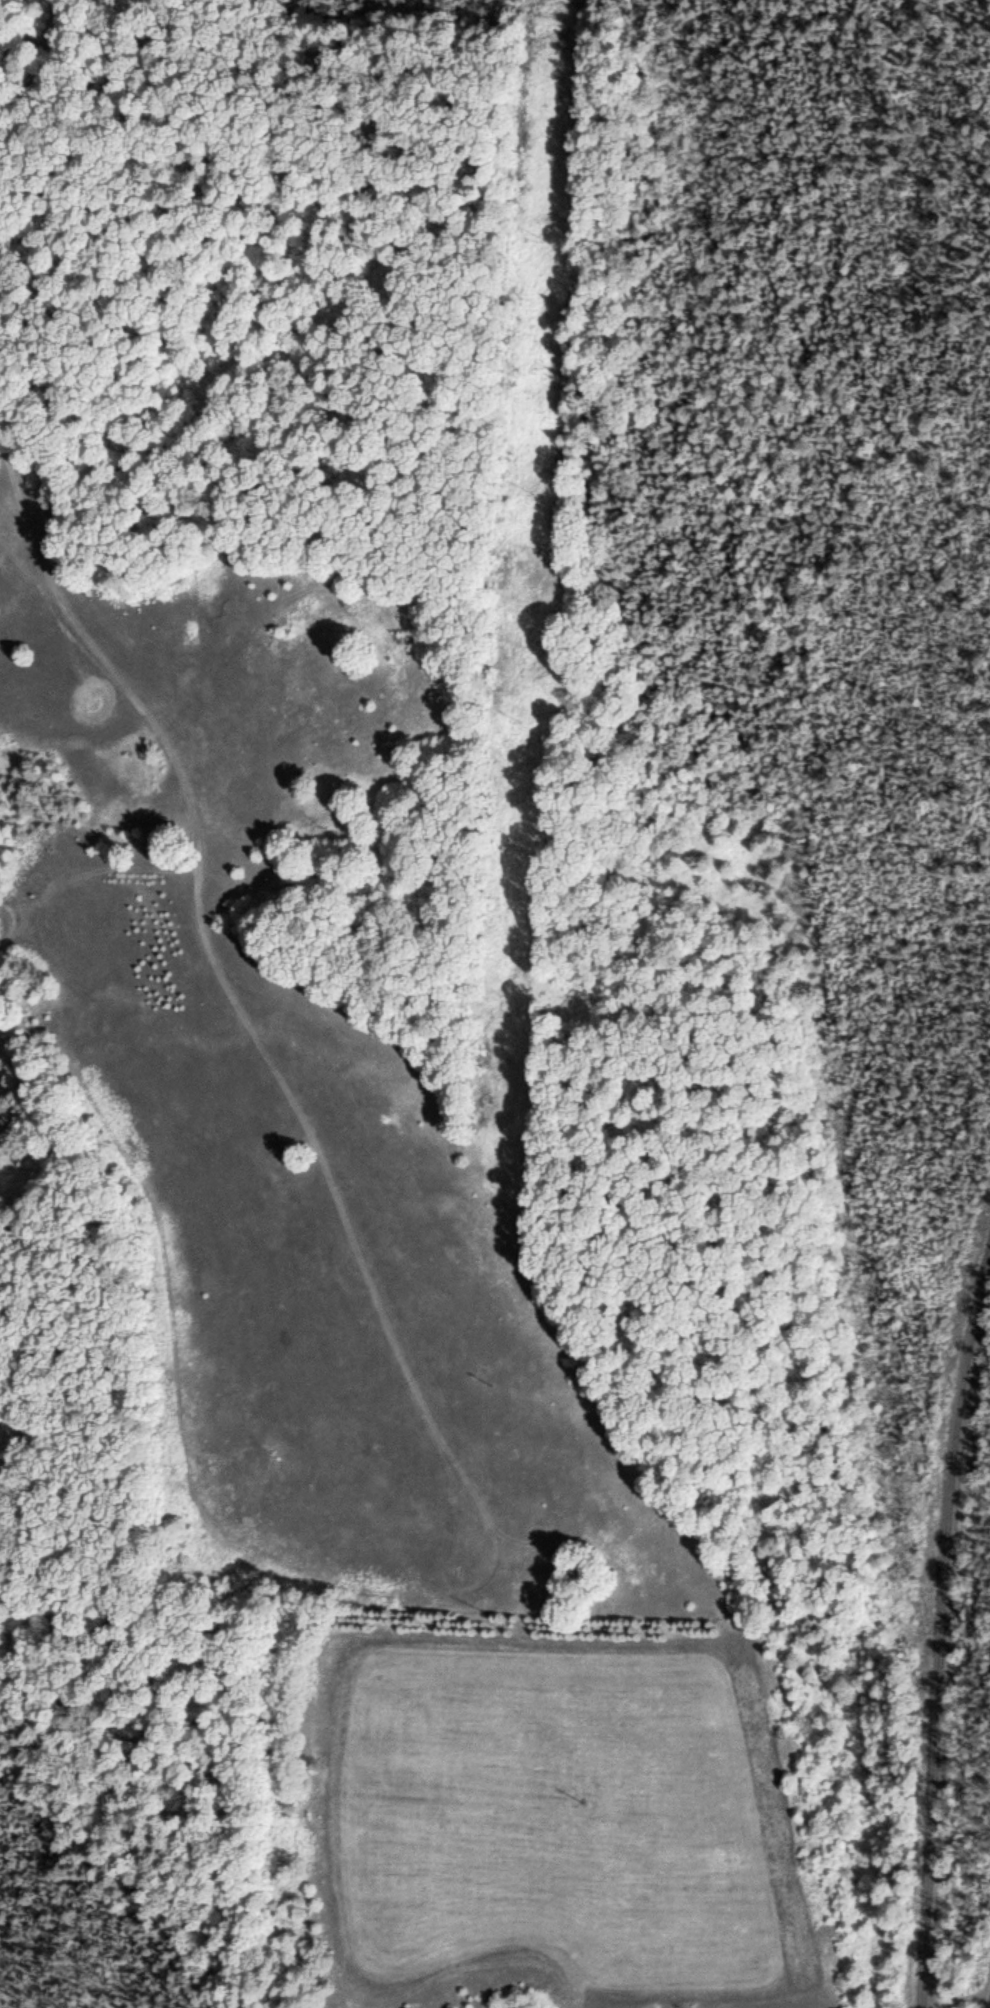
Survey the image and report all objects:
railway: (946, 1632)

